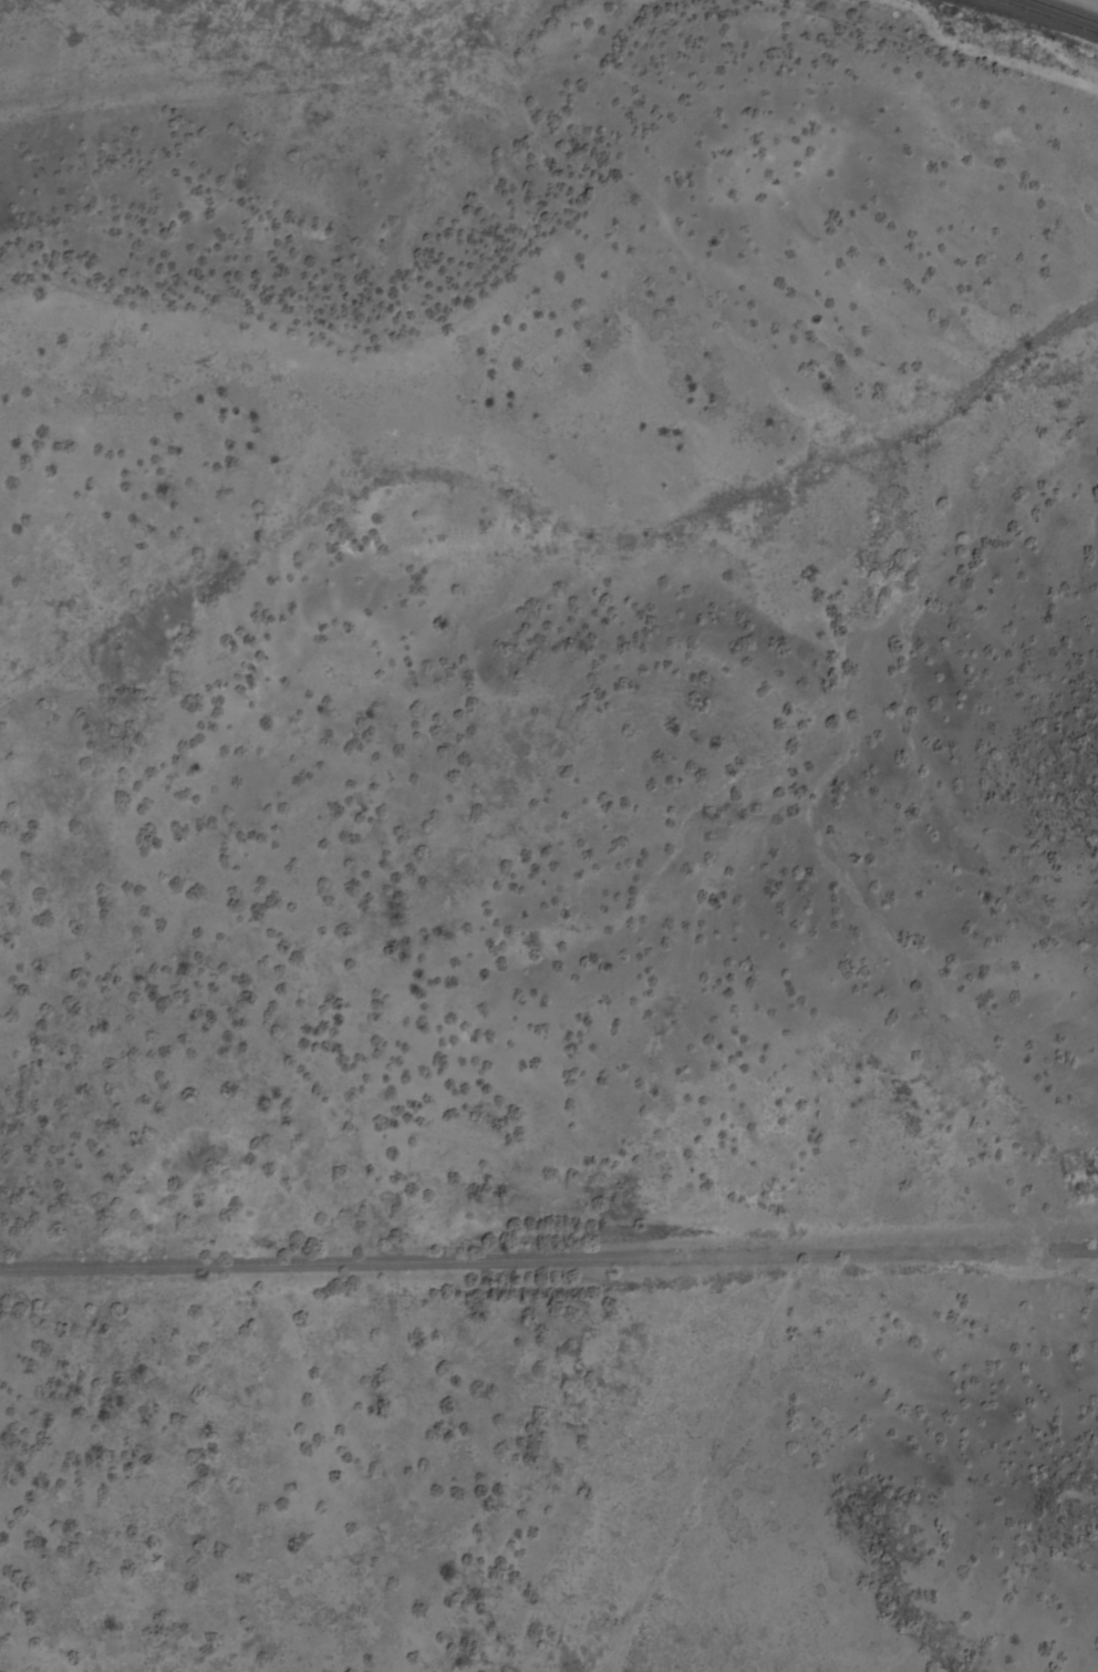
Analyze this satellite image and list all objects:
railway: (1067, 10)
railway: (1049, 14)
road: (549, 1258)

